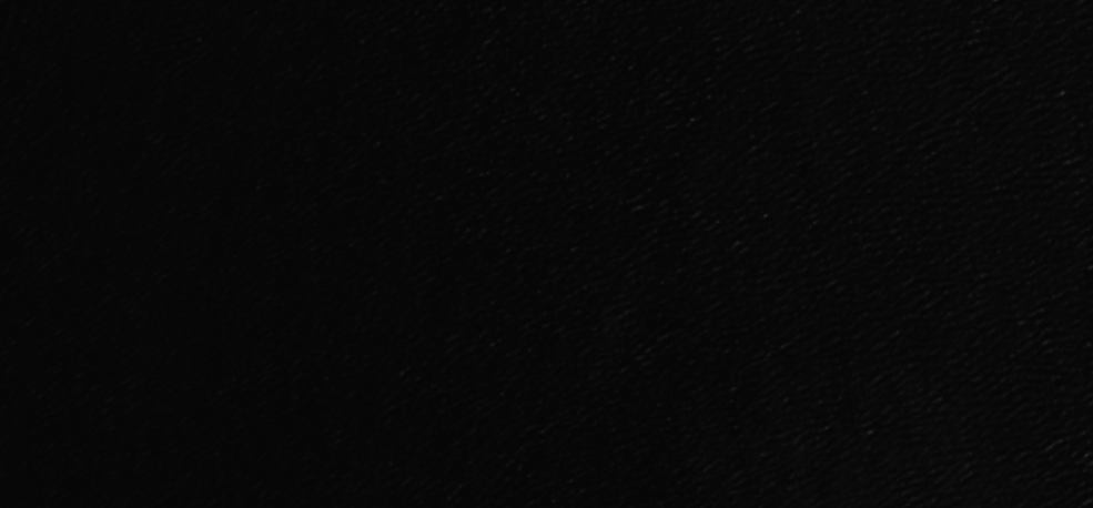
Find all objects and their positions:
park: (546, 254)
river: (245, 282)

